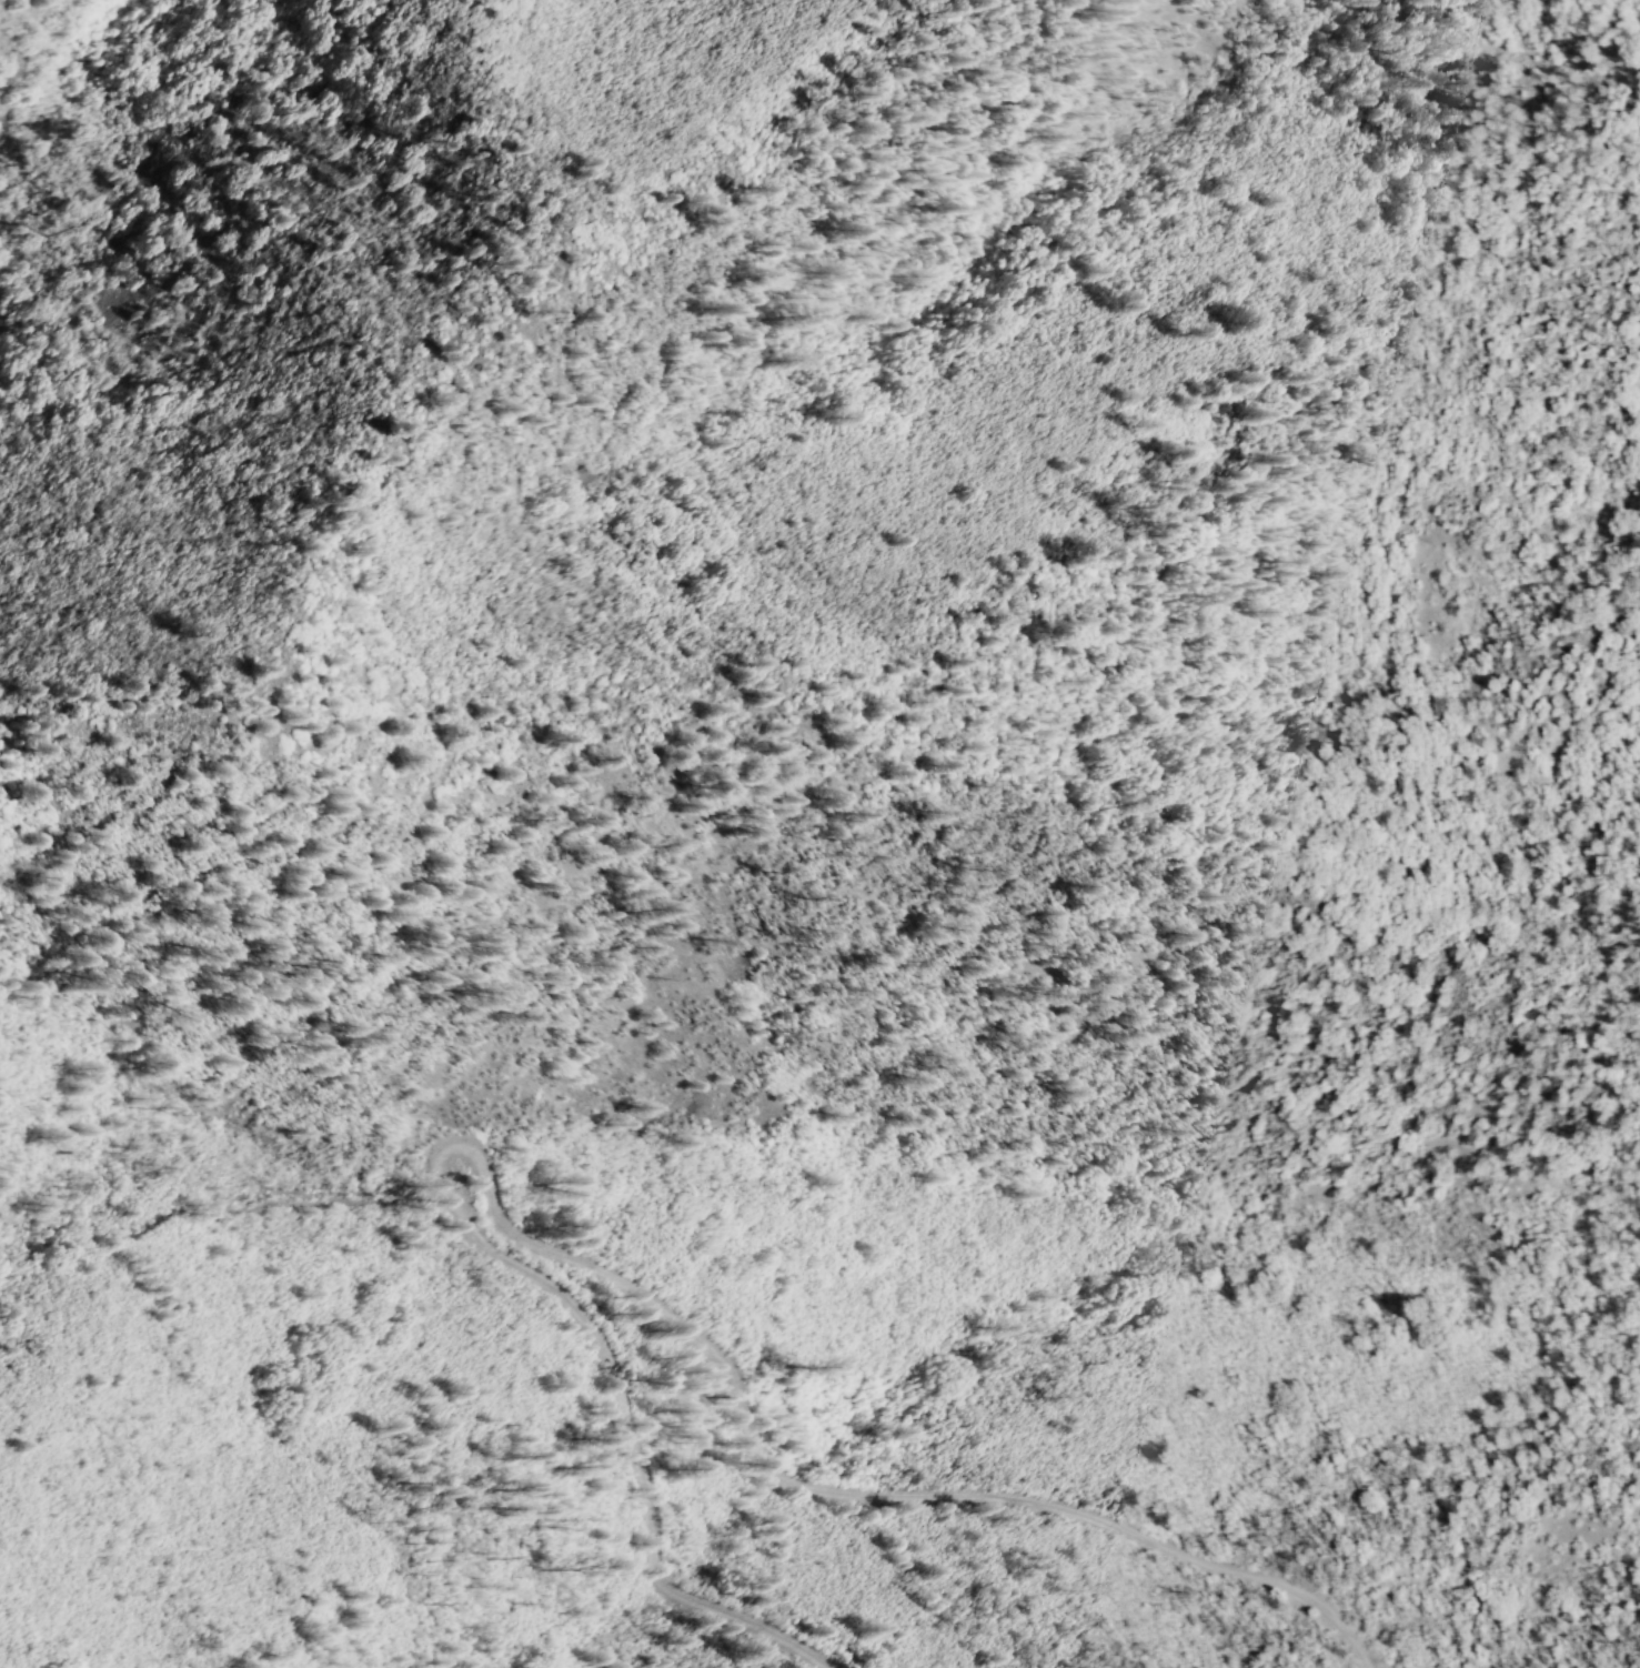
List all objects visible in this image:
road: (624, 1280)

